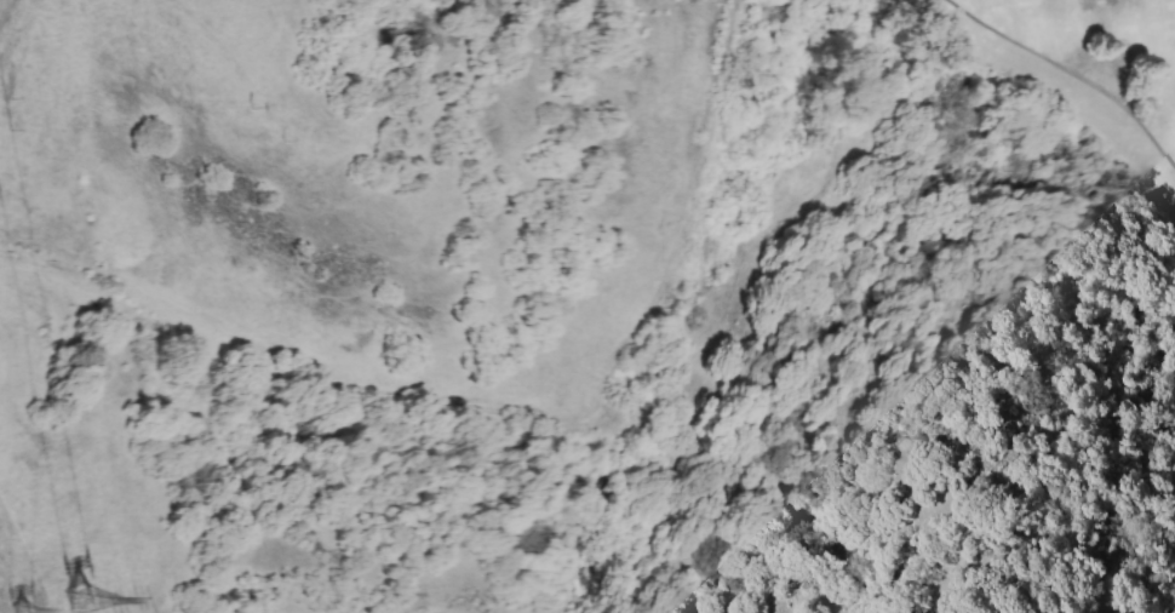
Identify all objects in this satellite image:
road: (11, 15)
park: (1054, 92)
road: (497, 402)
power tower: (79, 600)
power tower: (19, 611)

